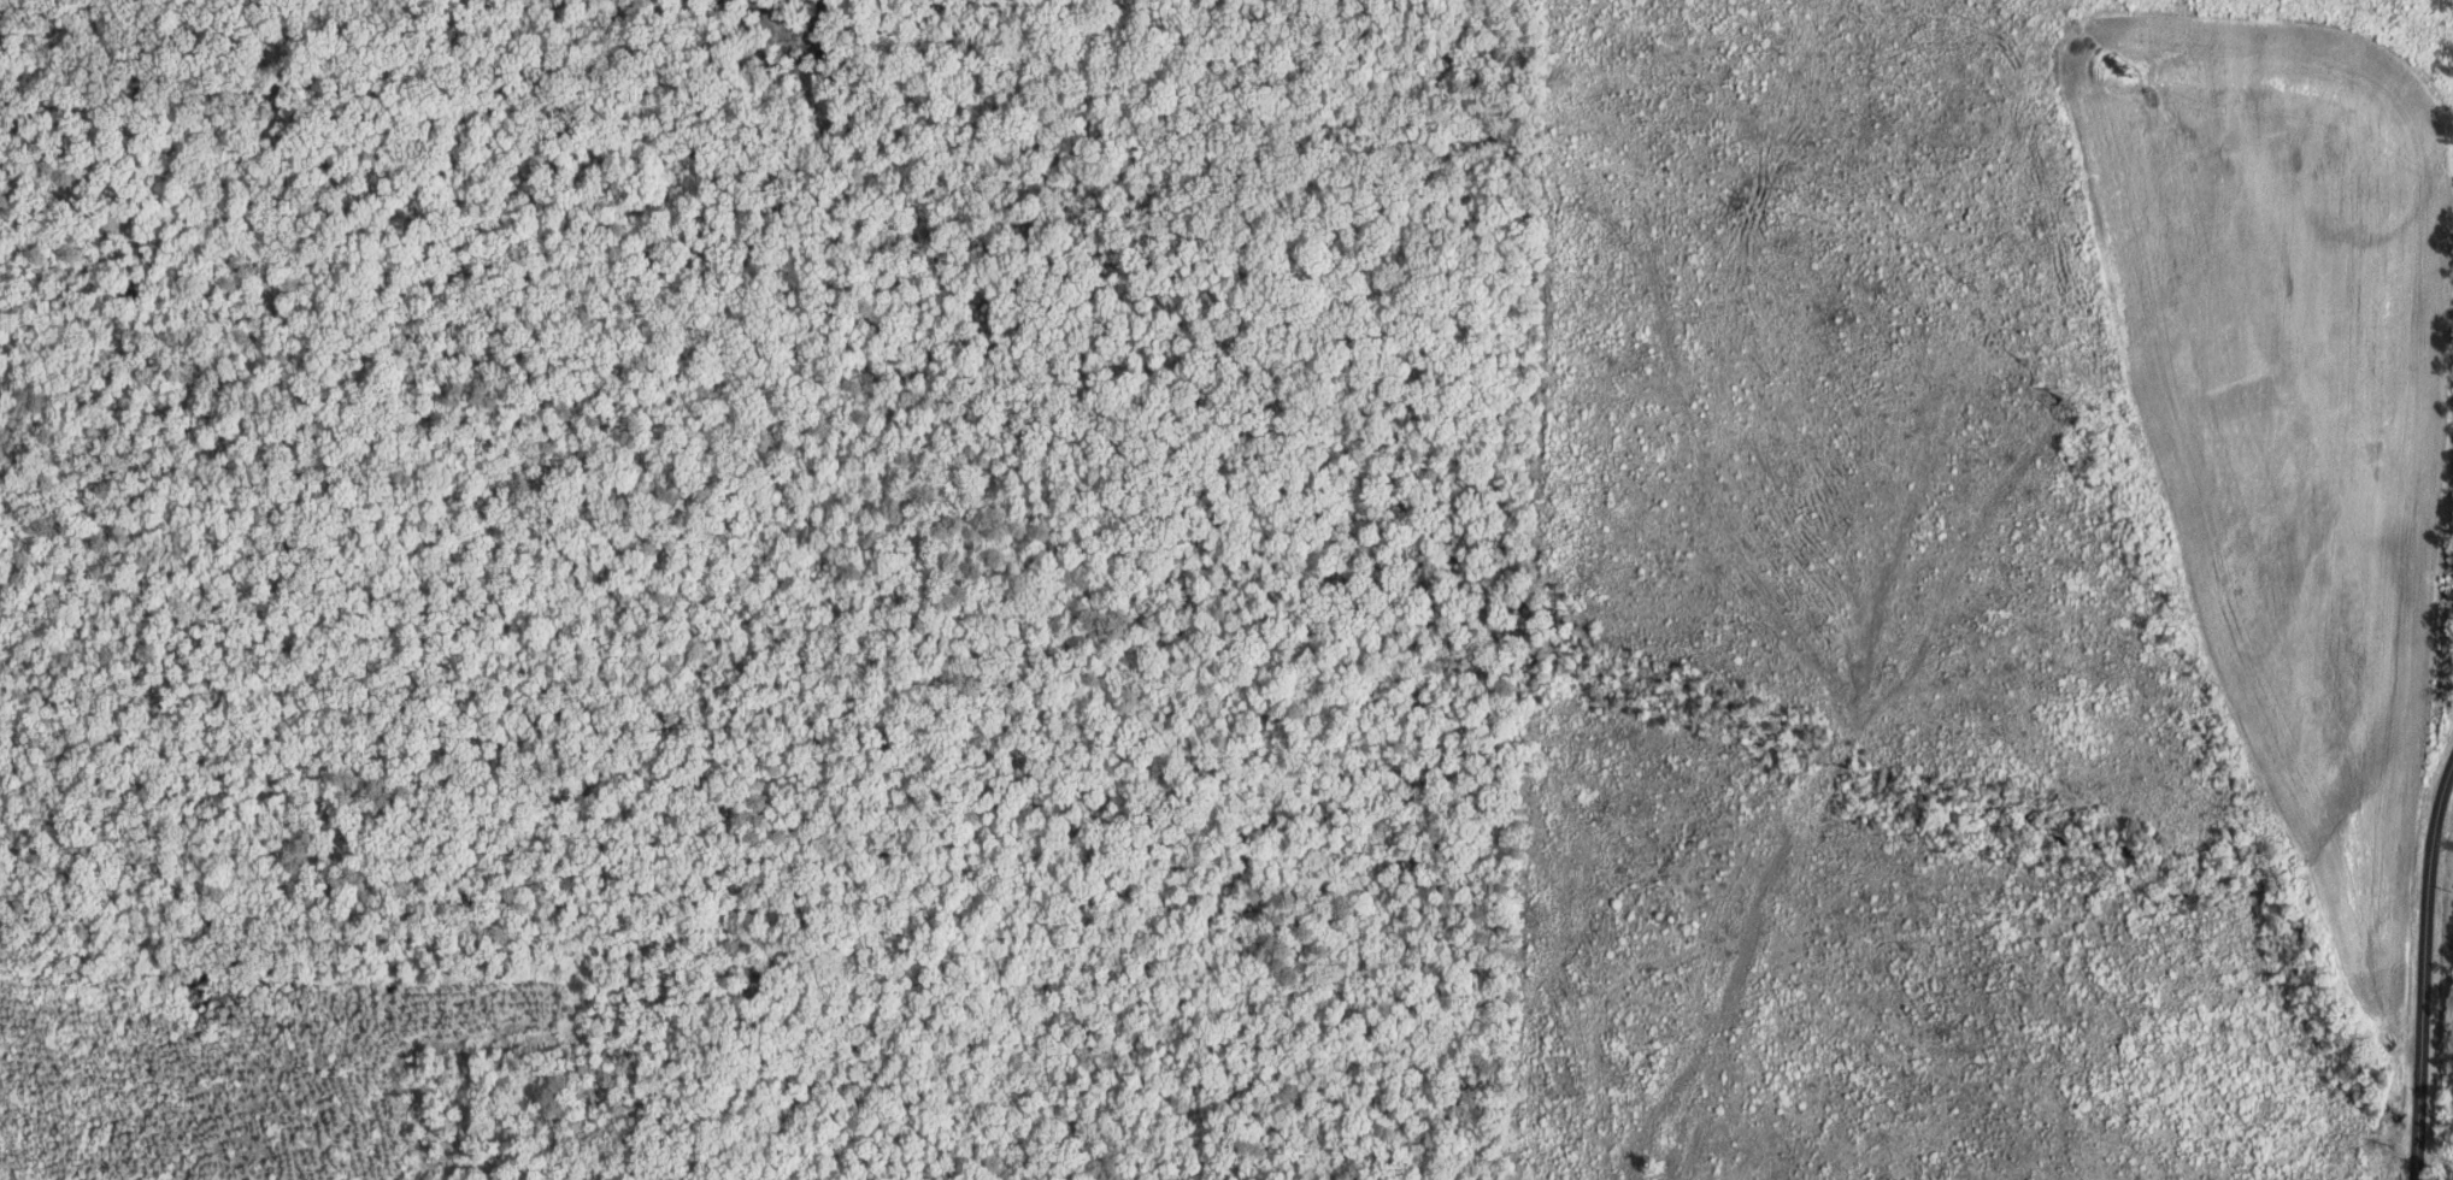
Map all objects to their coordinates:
road: (2442, 843)
road: (2422, 968)

